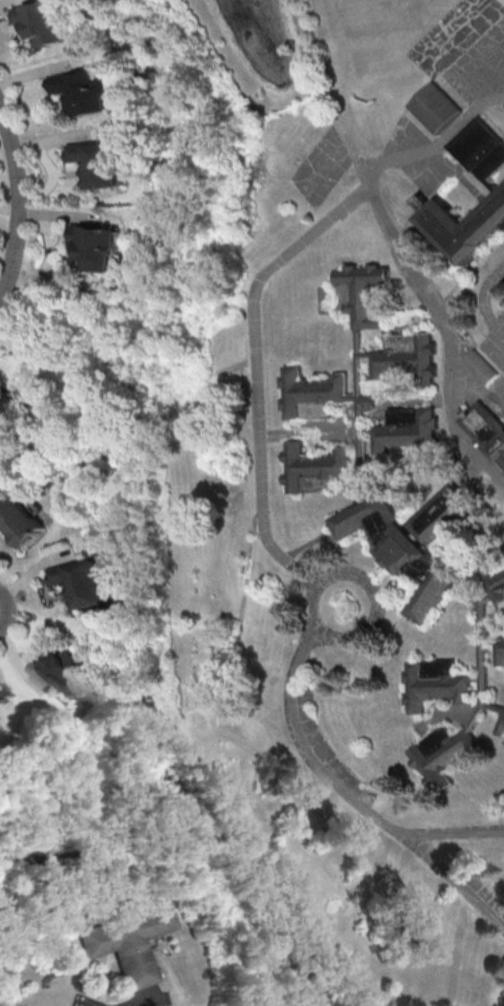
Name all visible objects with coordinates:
building: (42, 22)
building: (82, 91)
building: (433, 107)
building: (479, 149)
building: (98, 163)
road: (25, 203)
building: (463, 224)
building: (96, 246)
road: (404, 258)
building: (359, 293)
road: (483, 300)
building: (404, 357)
building: (478, 366)
road: (258, 389)
road: (477, 392)
building: (310, 393)
building: (360, 413)
building: (485, 429)
building: (408, 431)
building: (313, 468)
building: (439, 512)
building: (21, 522)
building: (400, 551)
building: (83, 580)
building: (494, 583)
road: (6, 606)
building: (499, 650)
building: (479, 652)
building: (63, 672)
building: (436, 683)
building: (501, 724)
building: (444, 753)
road: (334, 772)
river: (170, 822)
building: (126, 942)
road: (149, 1000)
road: (84, 1002)

